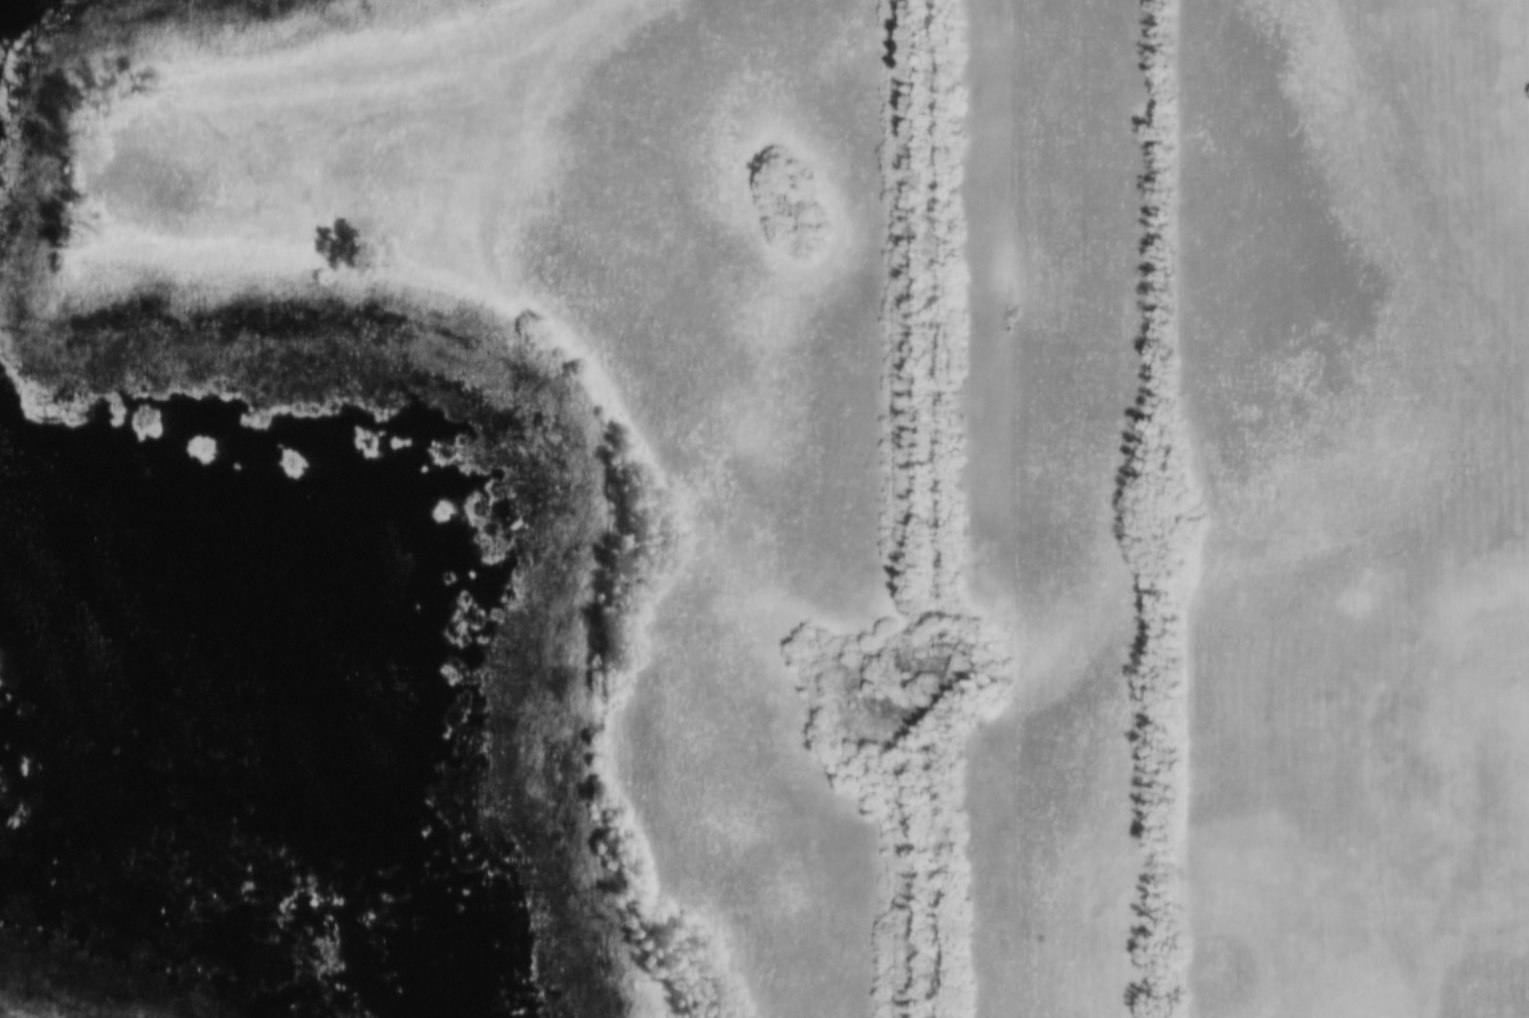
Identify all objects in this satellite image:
road: (1527, 68)

